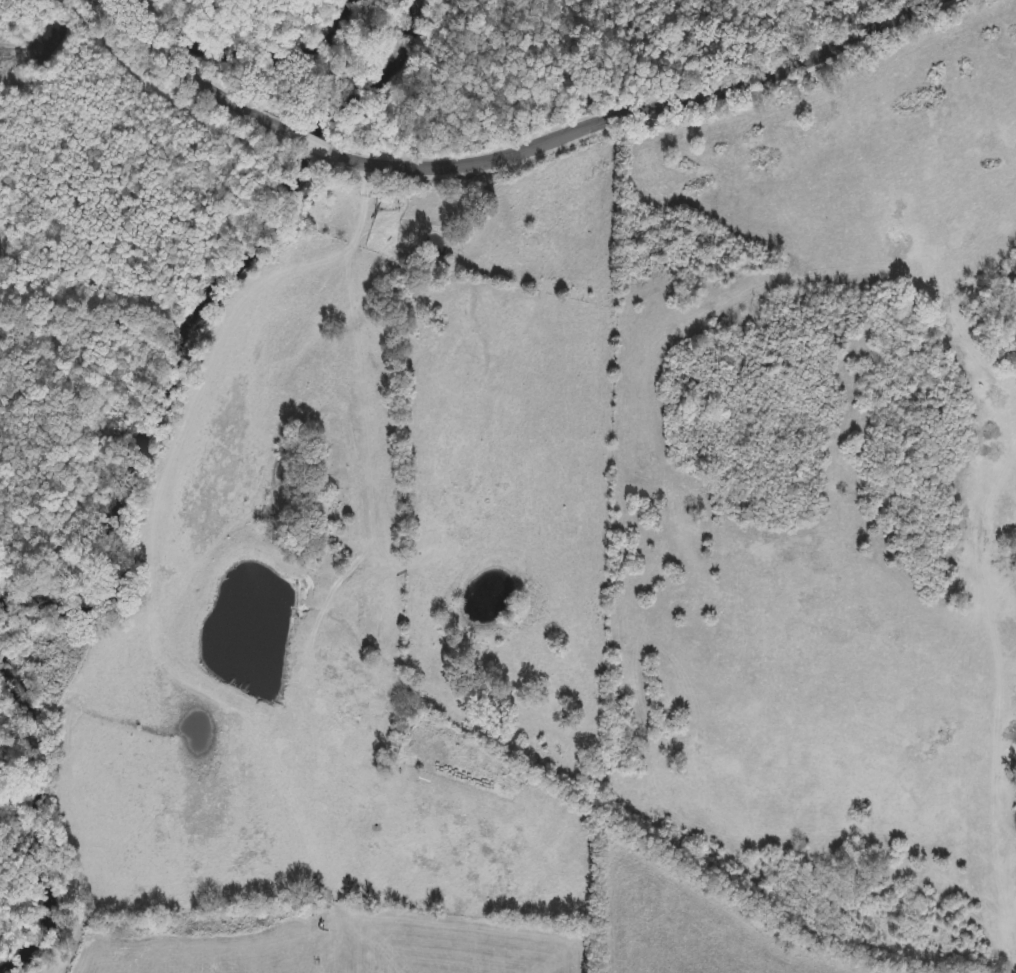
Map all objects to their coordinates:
road: (510, 156)

